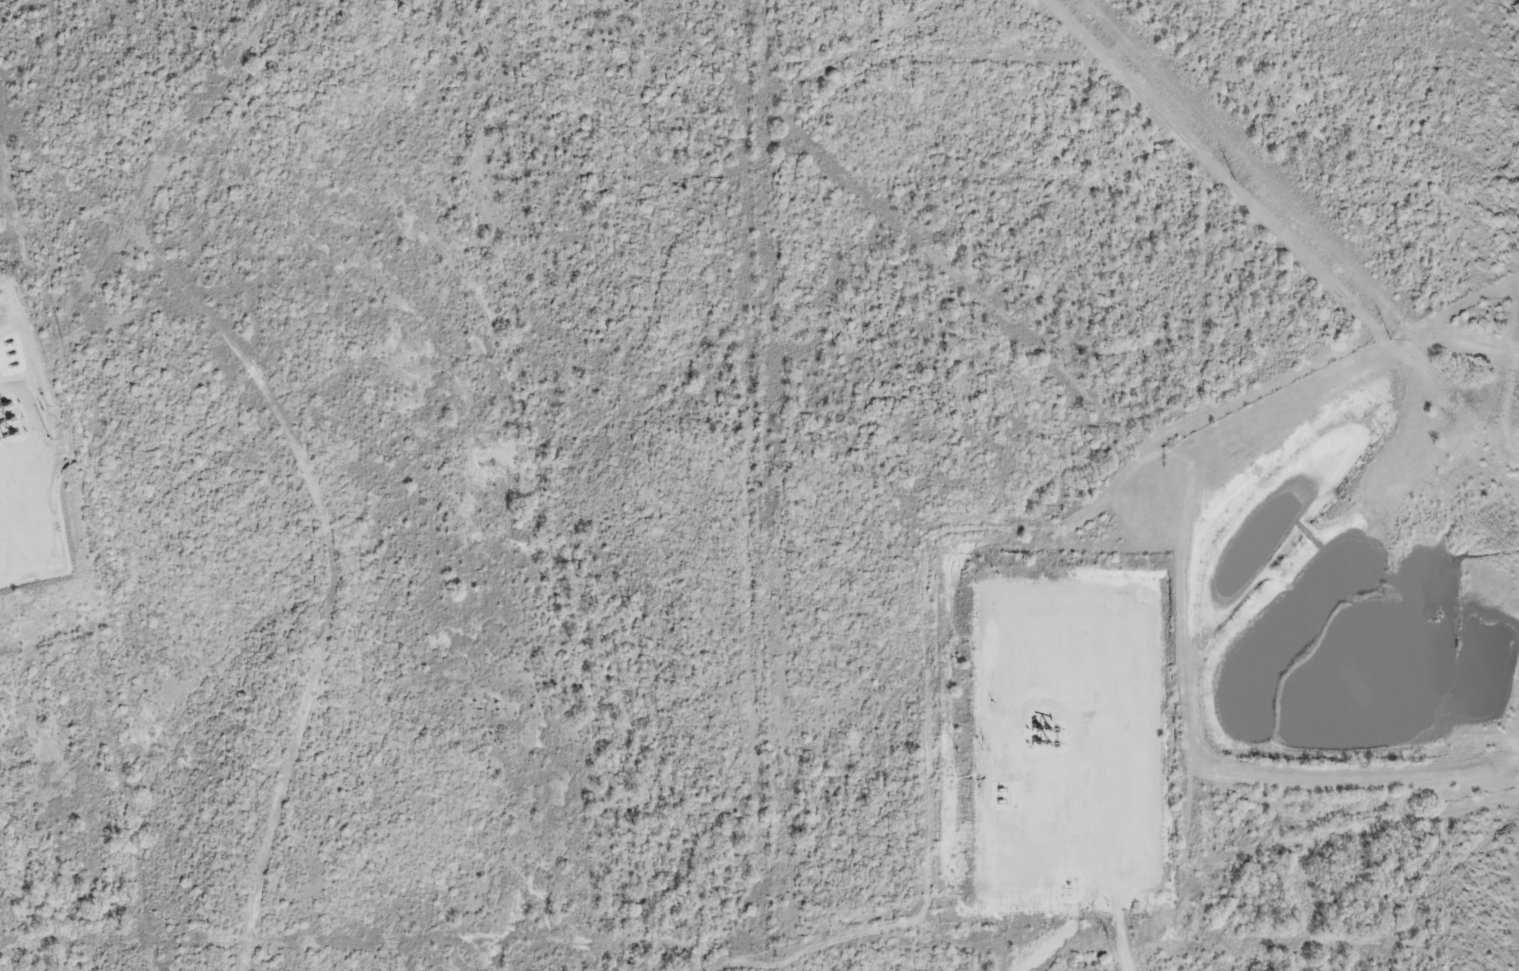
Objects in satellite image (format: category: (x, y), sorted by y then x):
power tower: (1232, 183)
power tower: (1392, 340)

